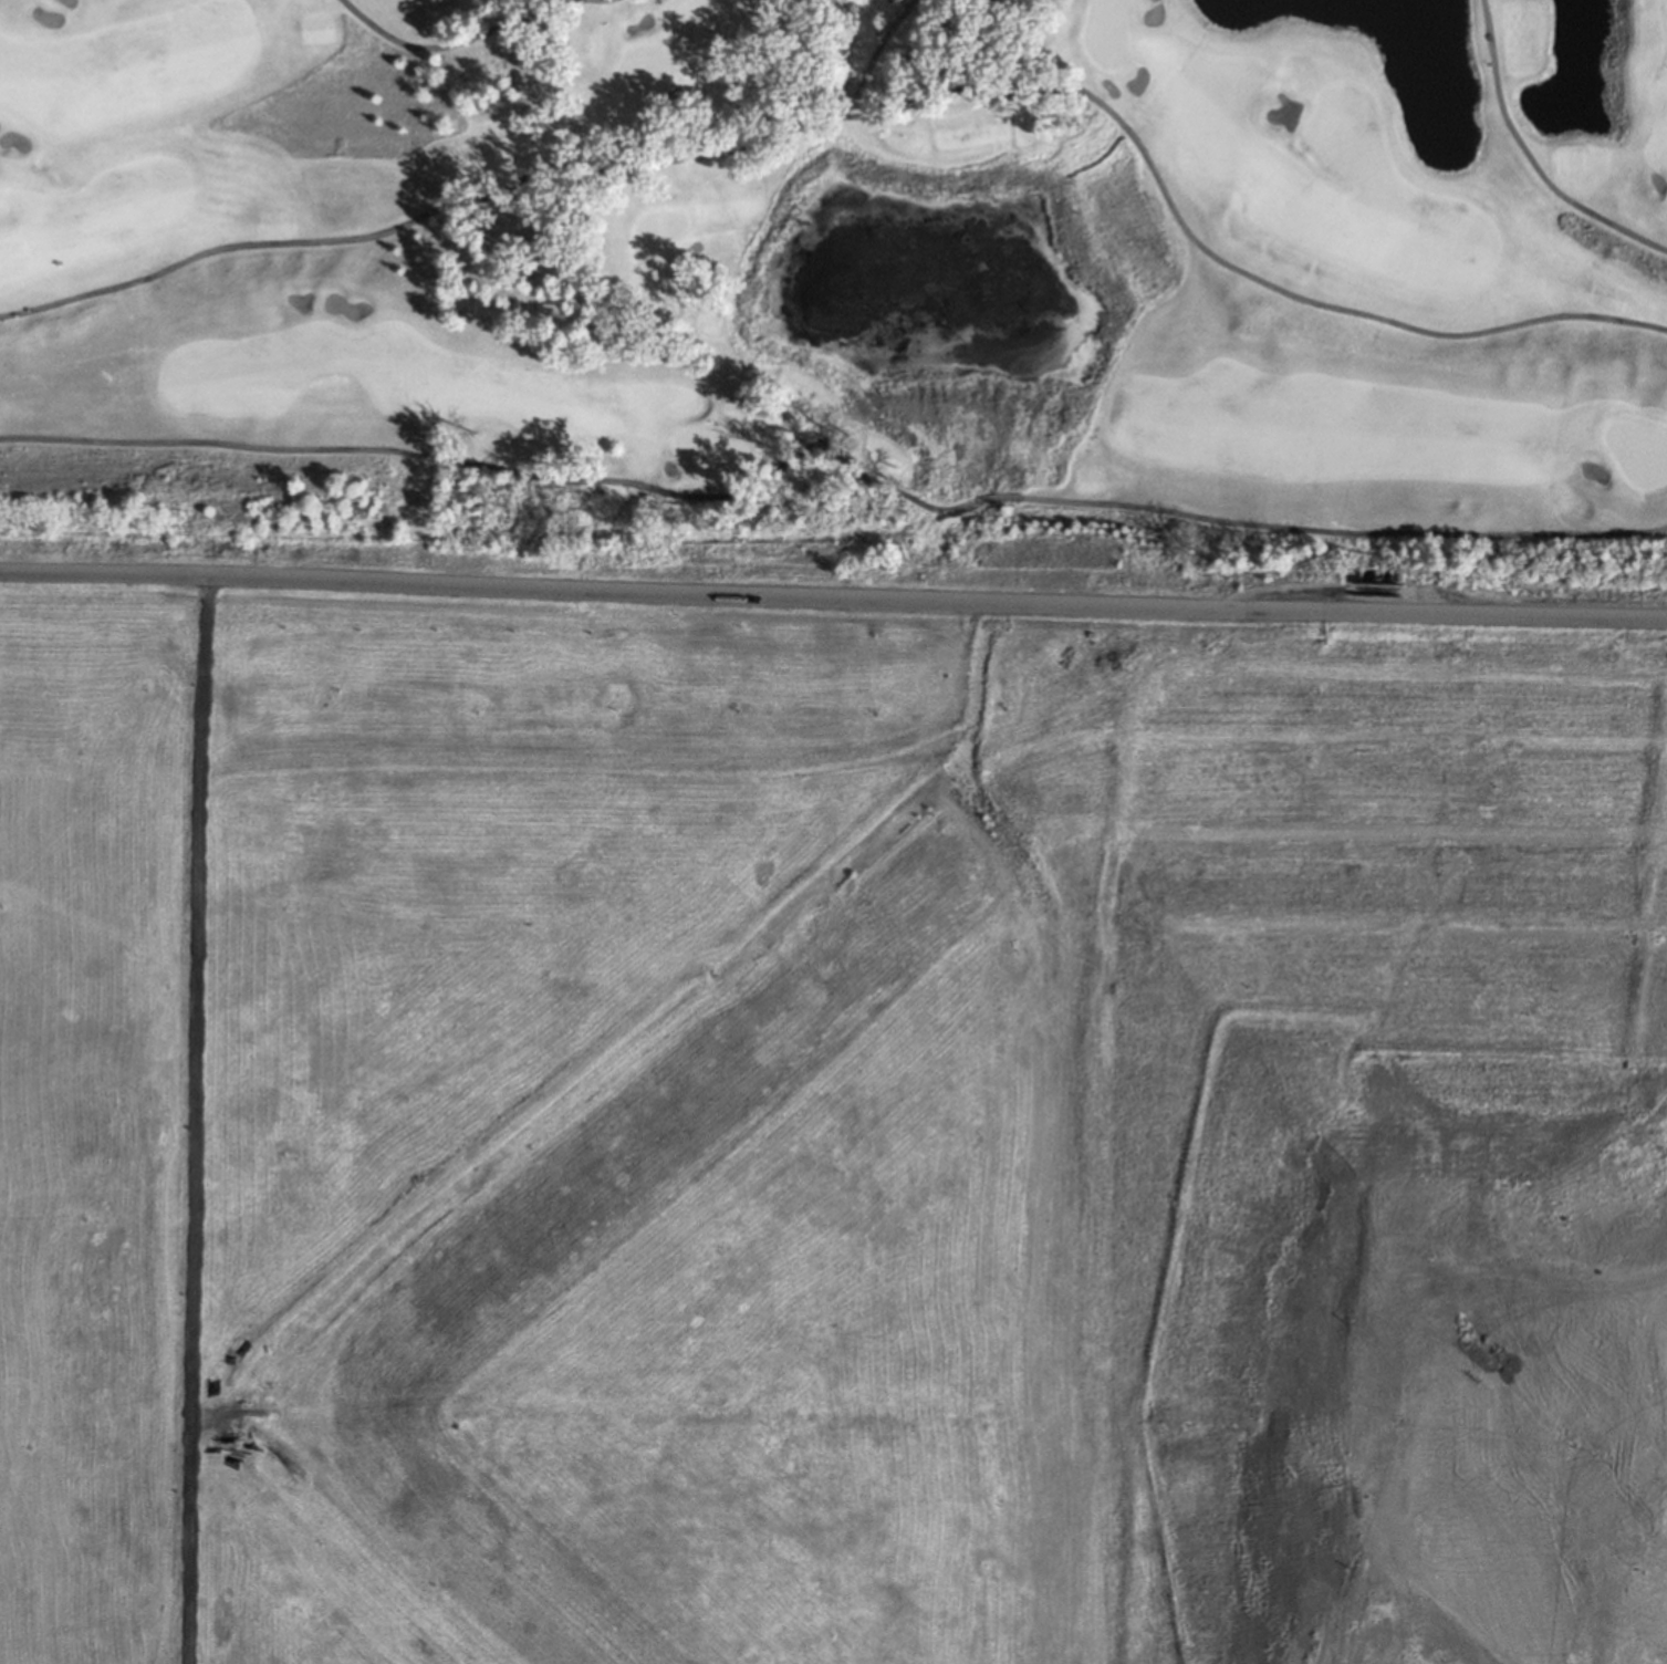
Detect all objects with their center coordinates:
road: (446, 45)
road: (869, 112)
road: (1531, 156)
park: (843, 270)
road: (509, 470)
road: (1343, 530)
road: (833, 589)
road: (204, 1116)
landfill: (826, 1136)

